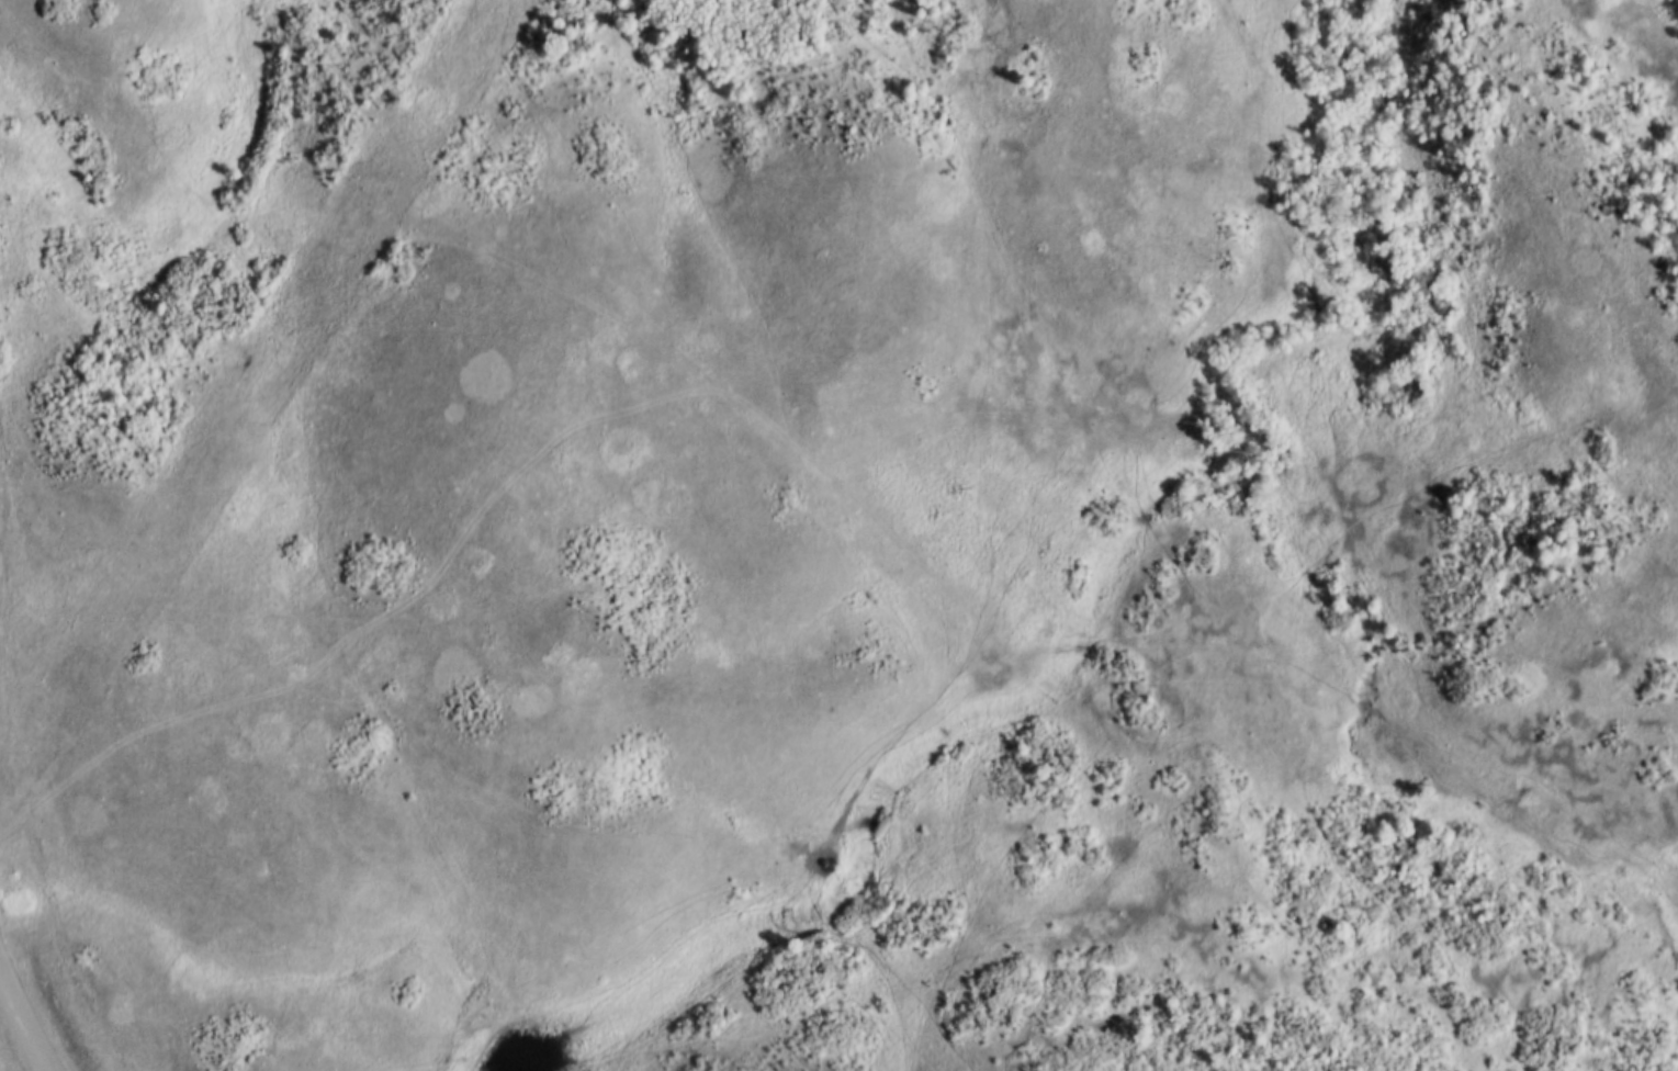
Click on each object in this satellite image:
road: (22, 1021)

